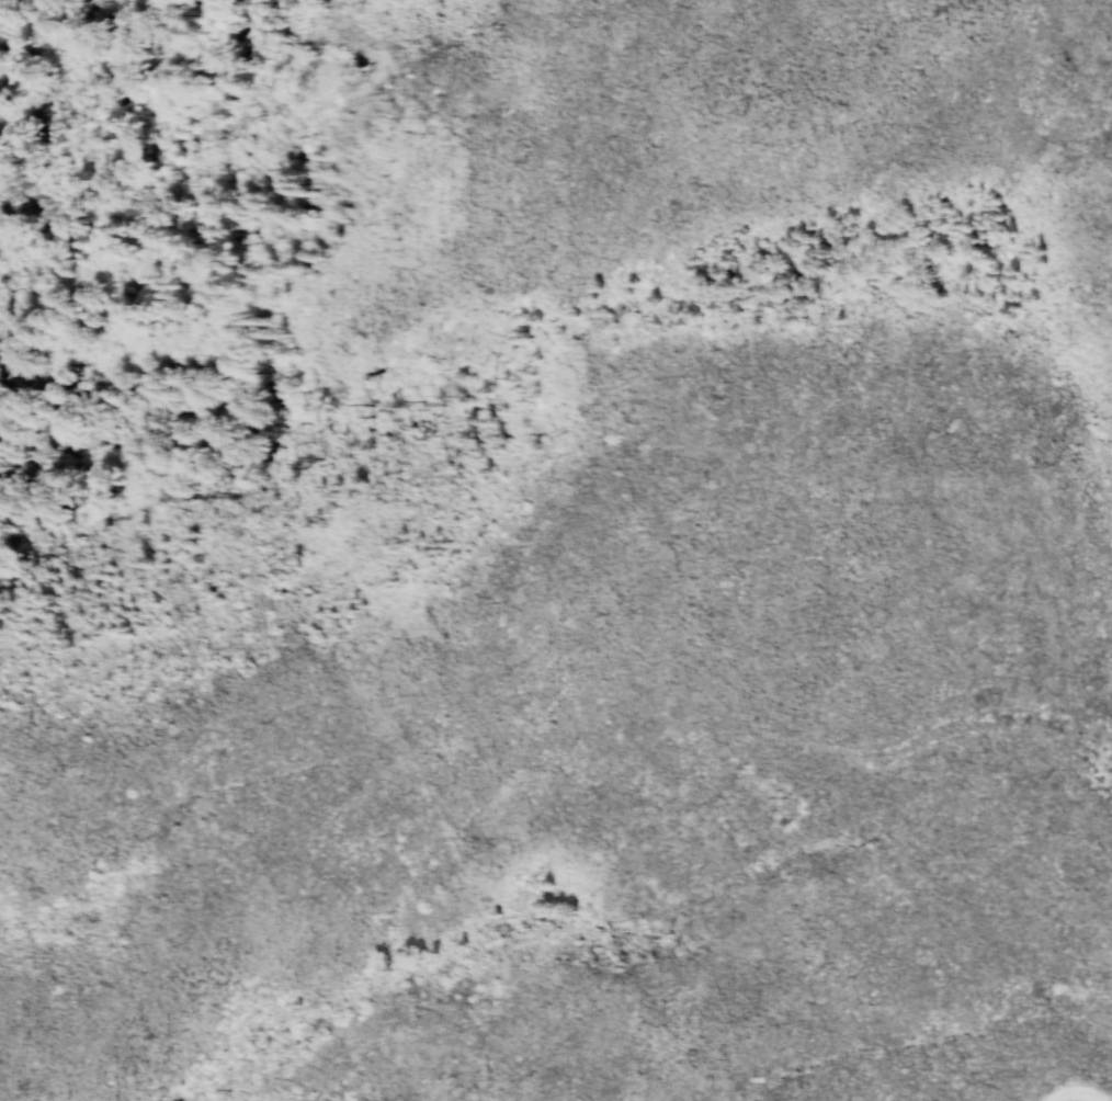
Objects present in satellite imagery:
road: (1073, 1091)

